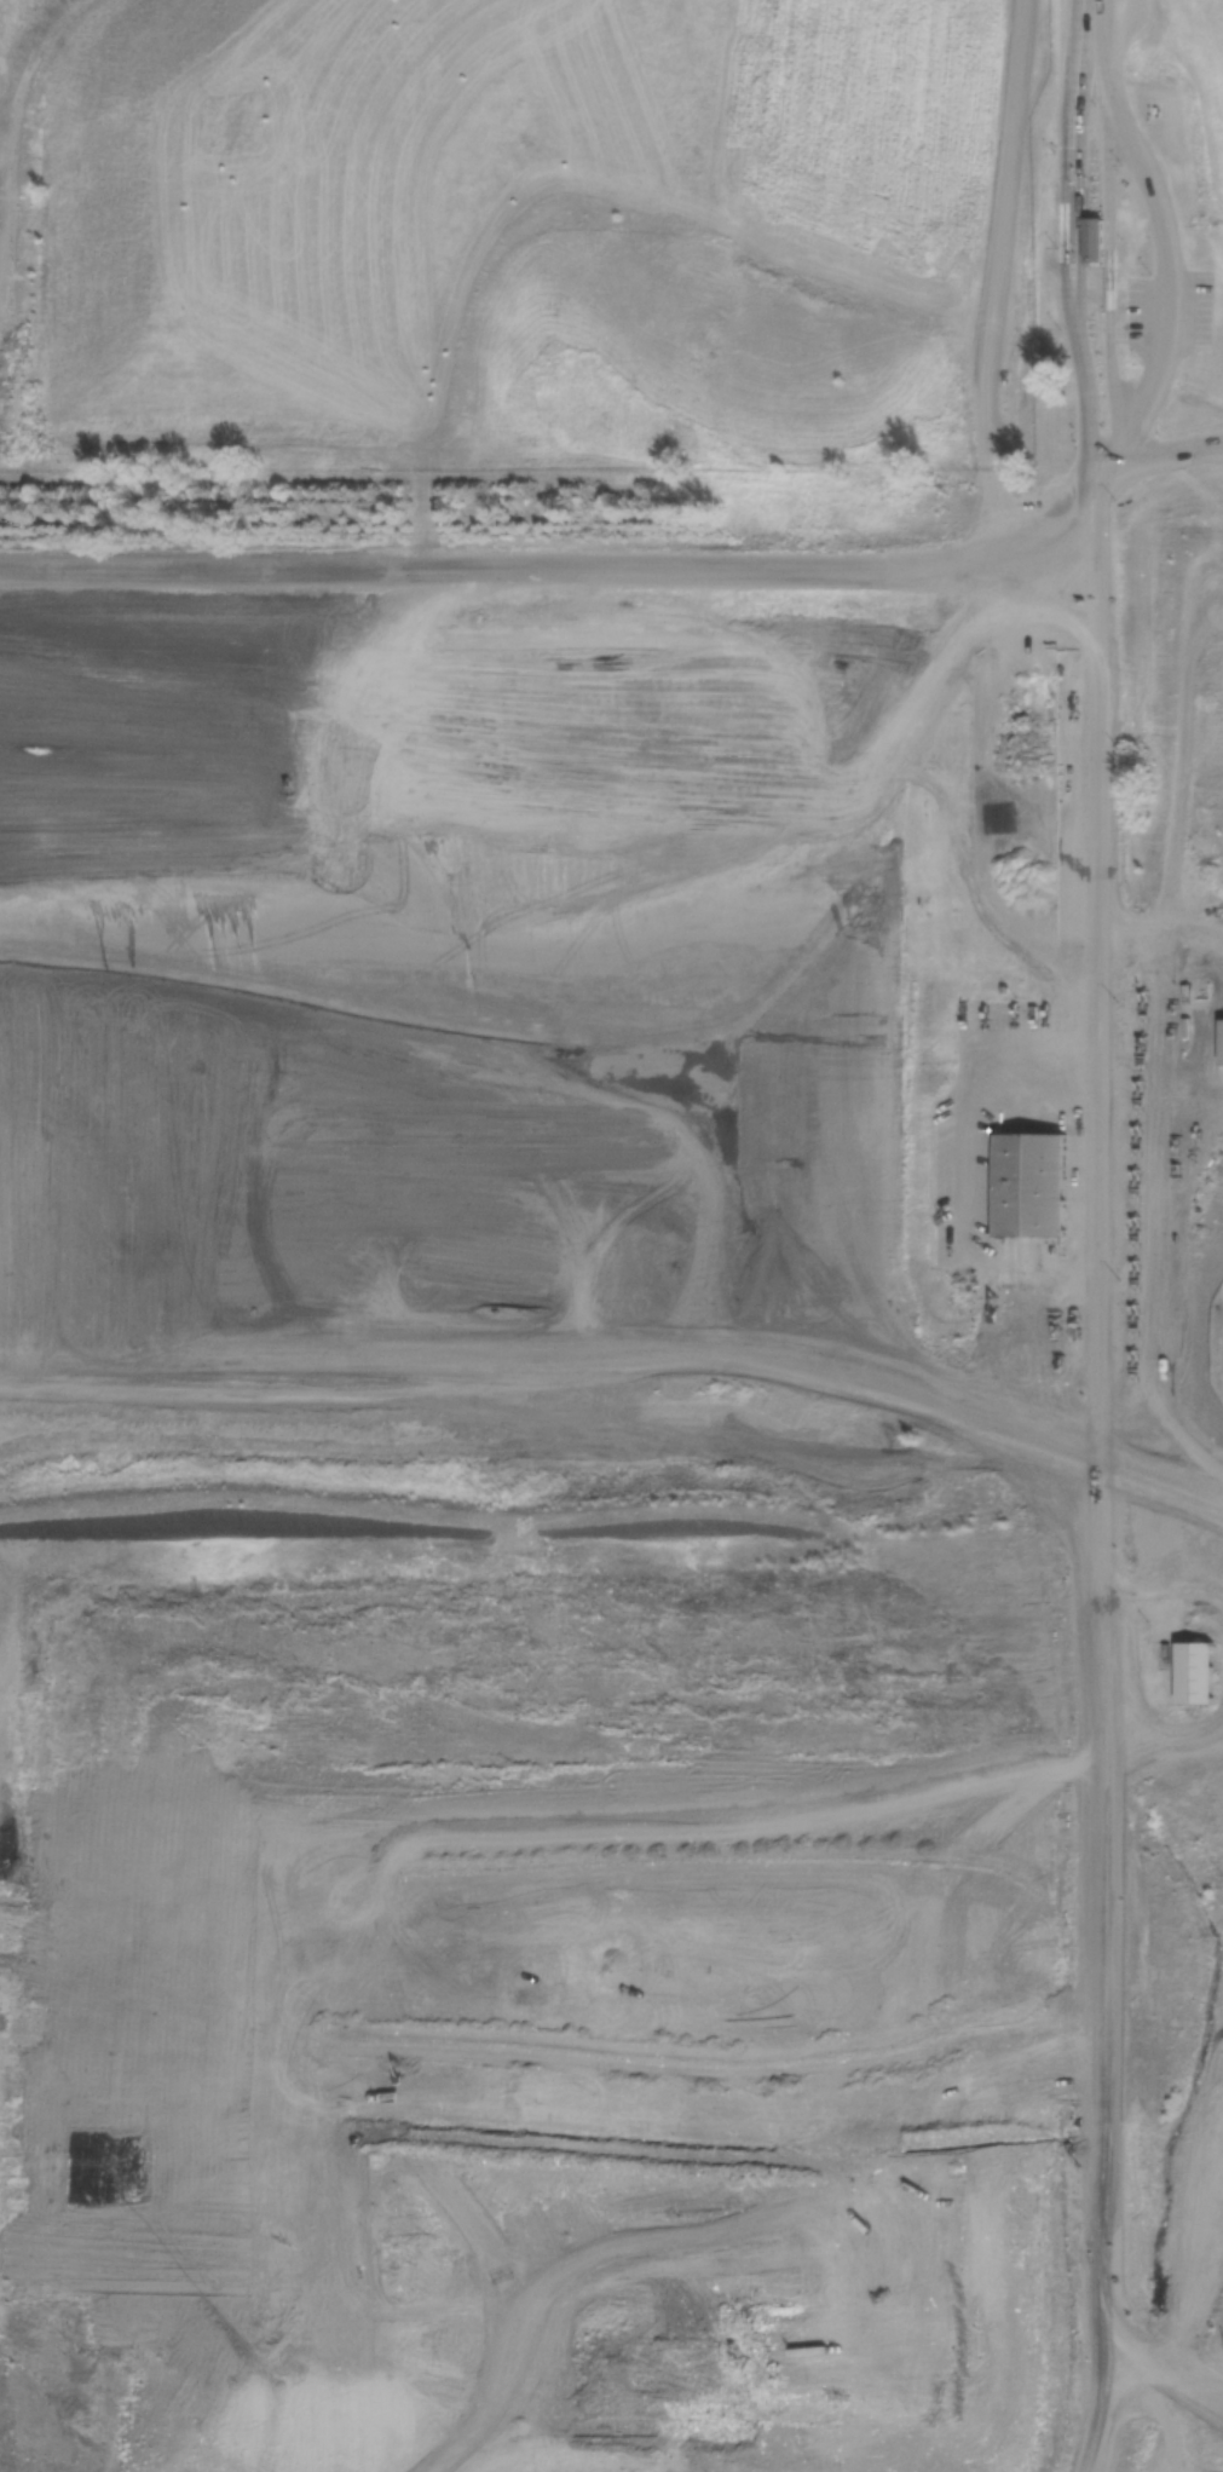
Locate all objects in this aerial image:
building: (1094, 241)
road: (1176, 275)
road: (1160, 451)
road: (1096, 566)
building: (1074, 776)
building: (1218, 1042)
building: (1029, 1193)
road: (558, 1315)
landfill: (611, 1514)
building: (1196, 1675)
road: (1091, 1803)

